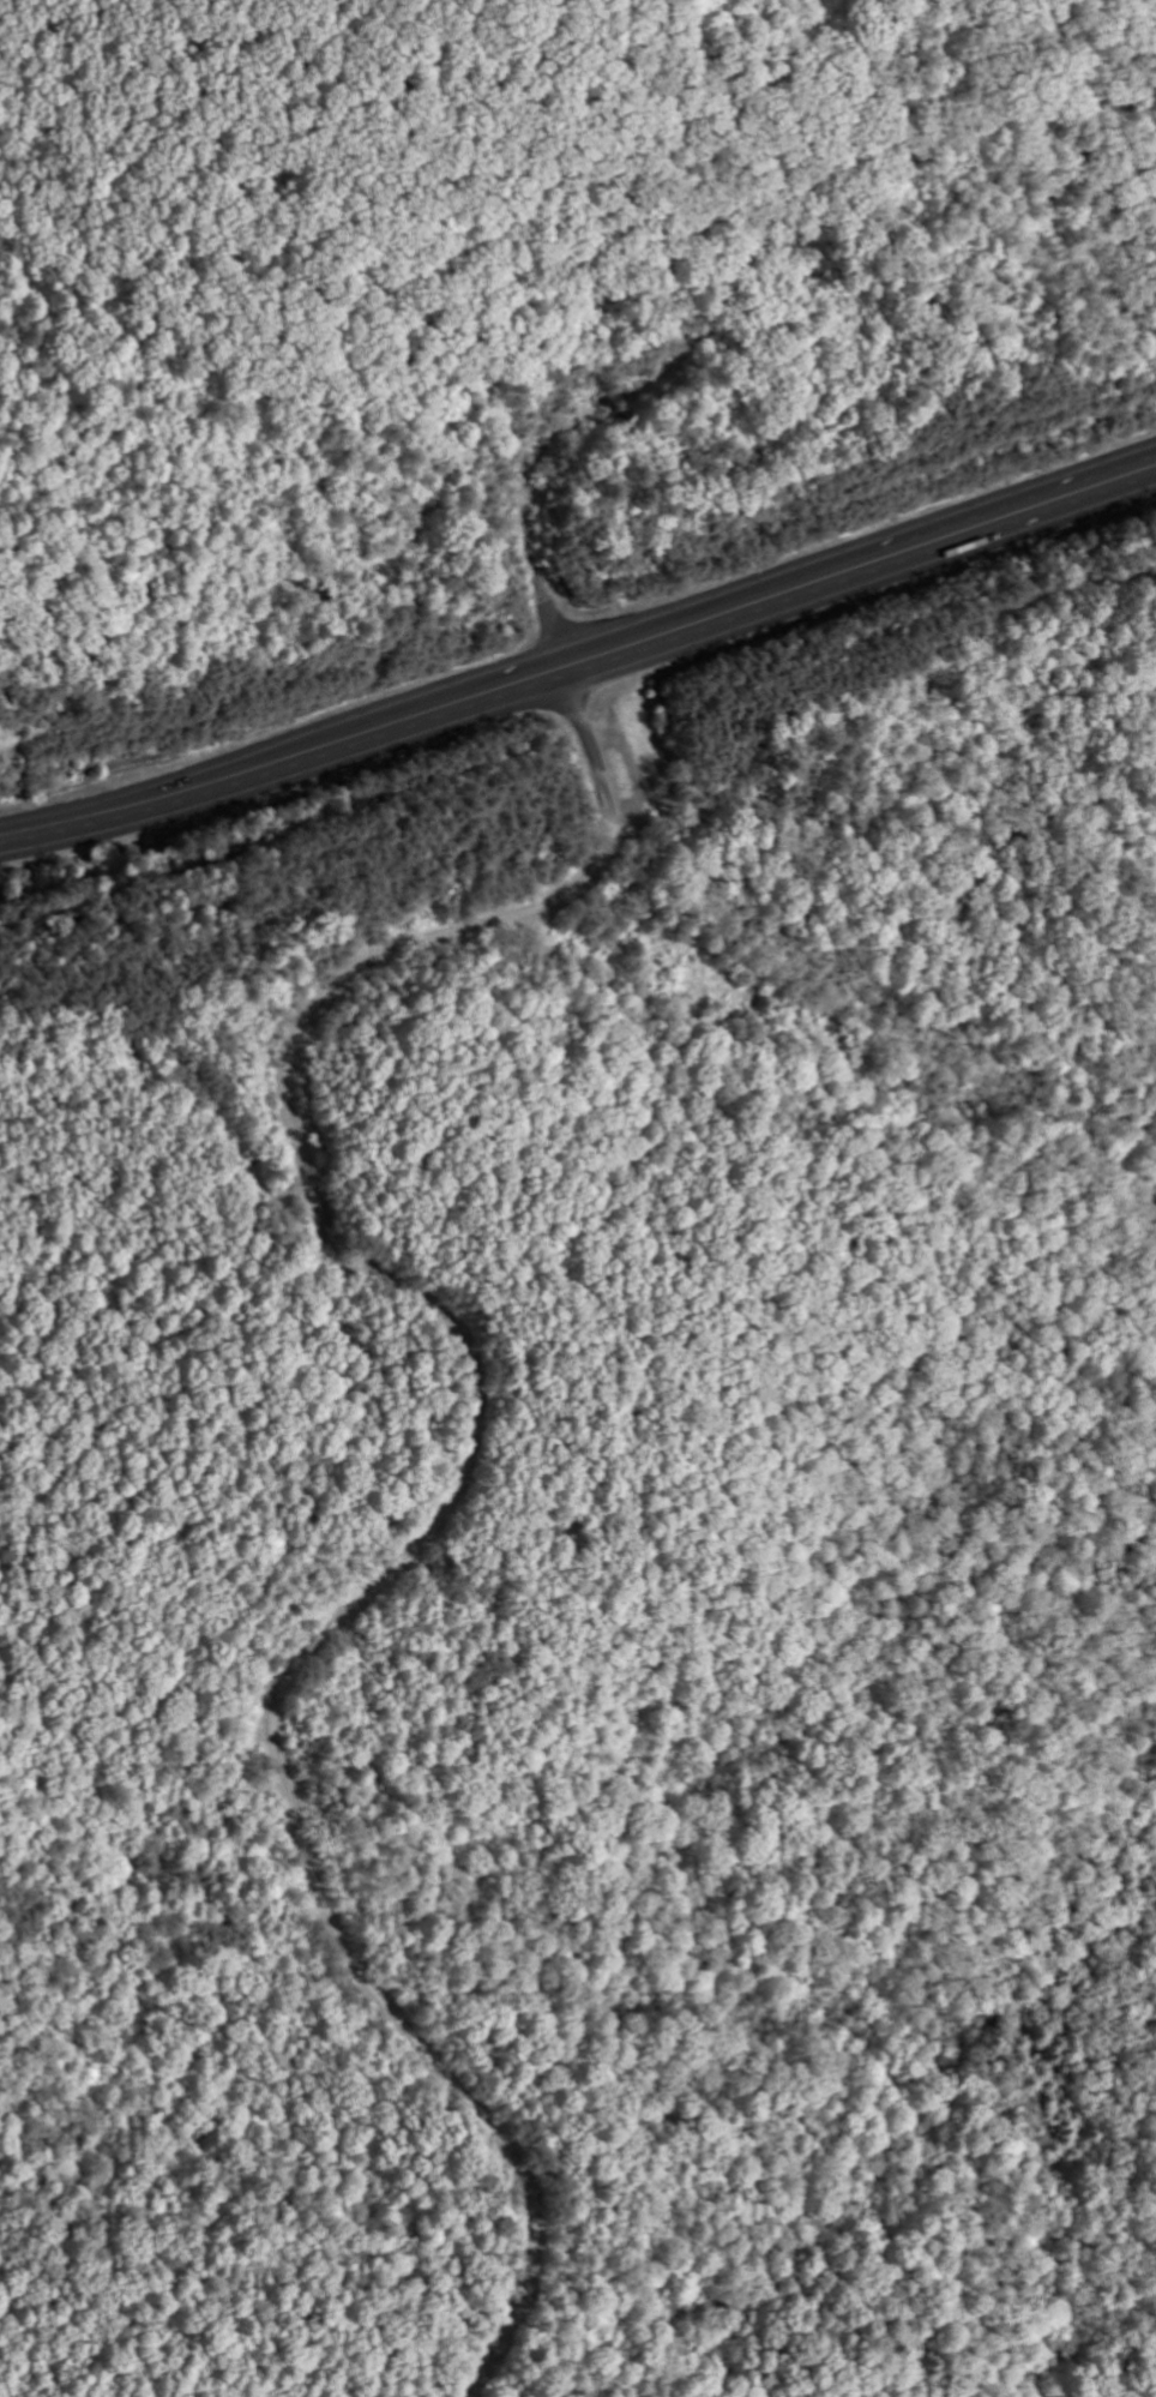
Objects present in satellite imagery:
road: (690, 359)
road: (580, 661)
road: (463, 1472)

